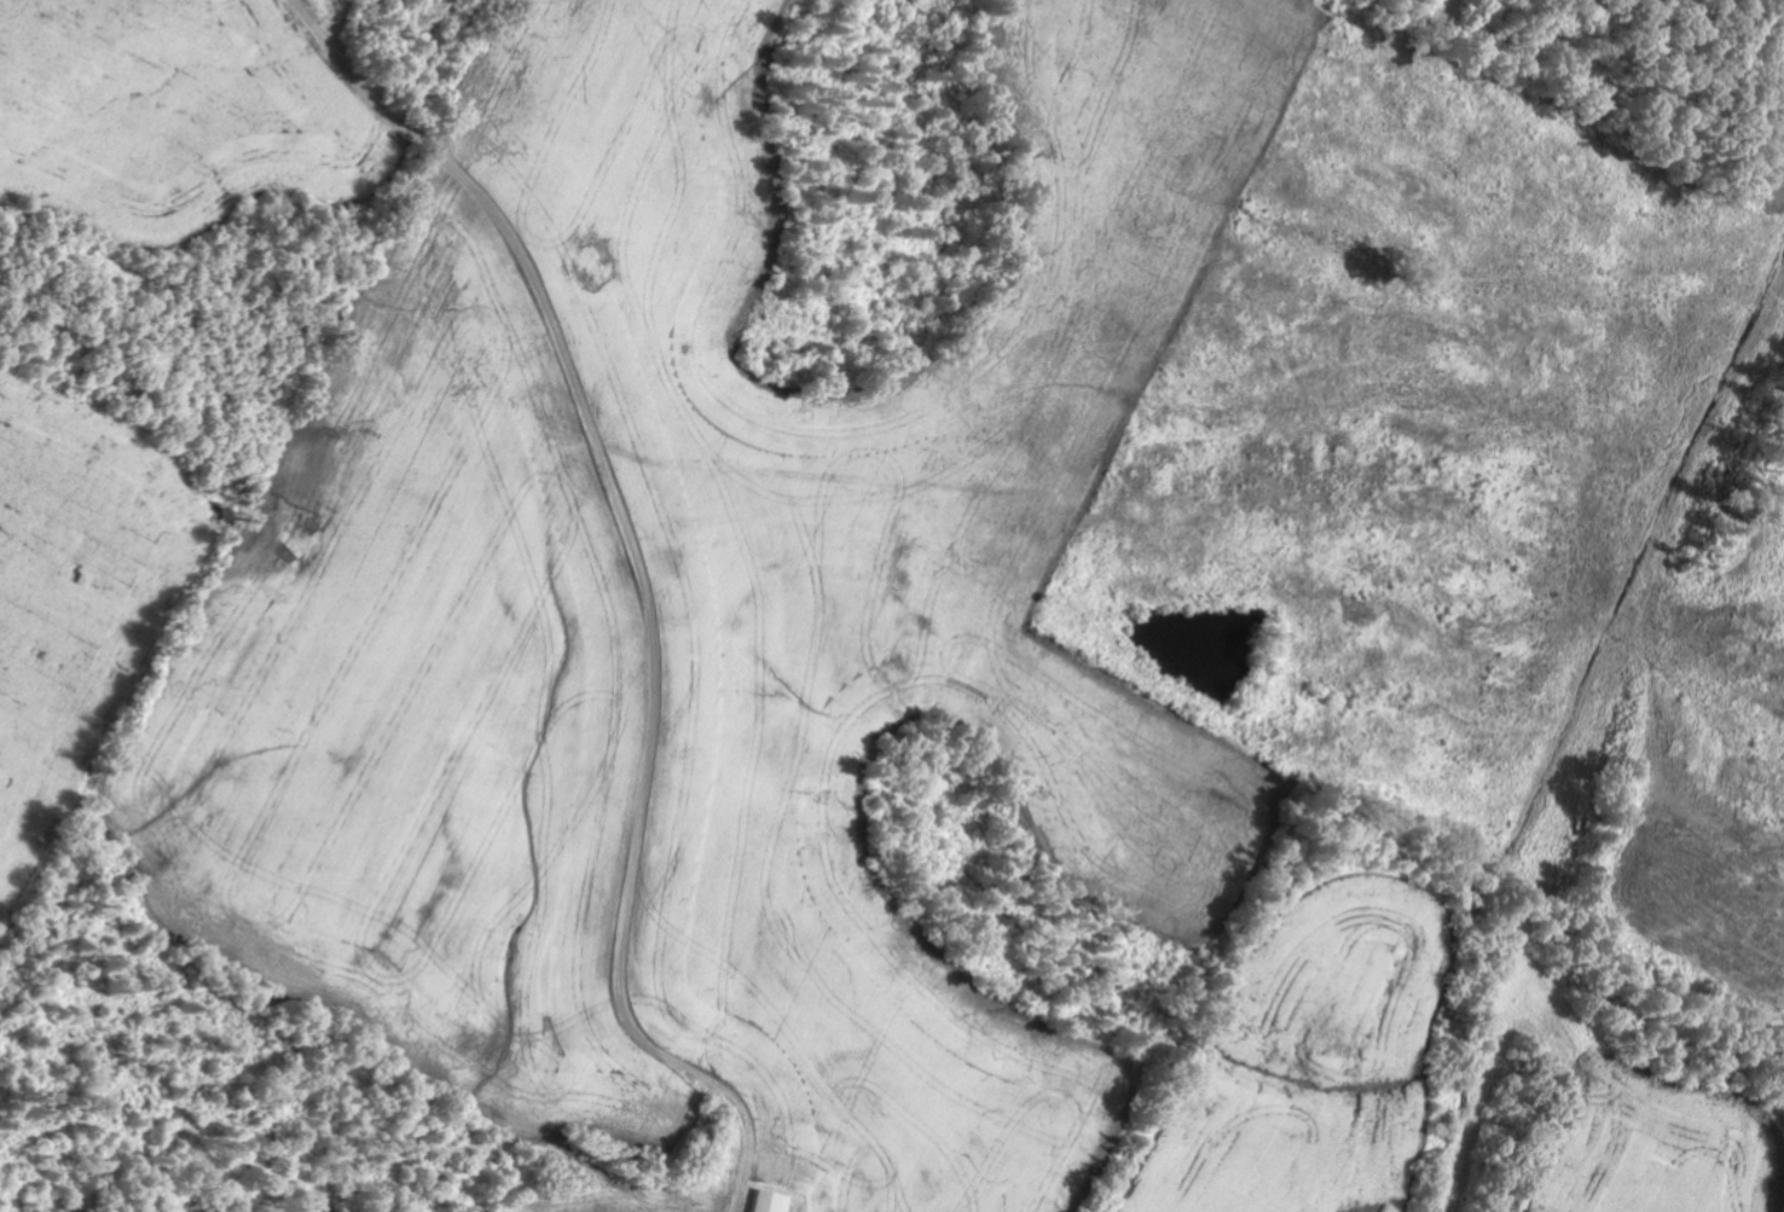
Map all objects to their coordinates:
building: (776, 1201)

